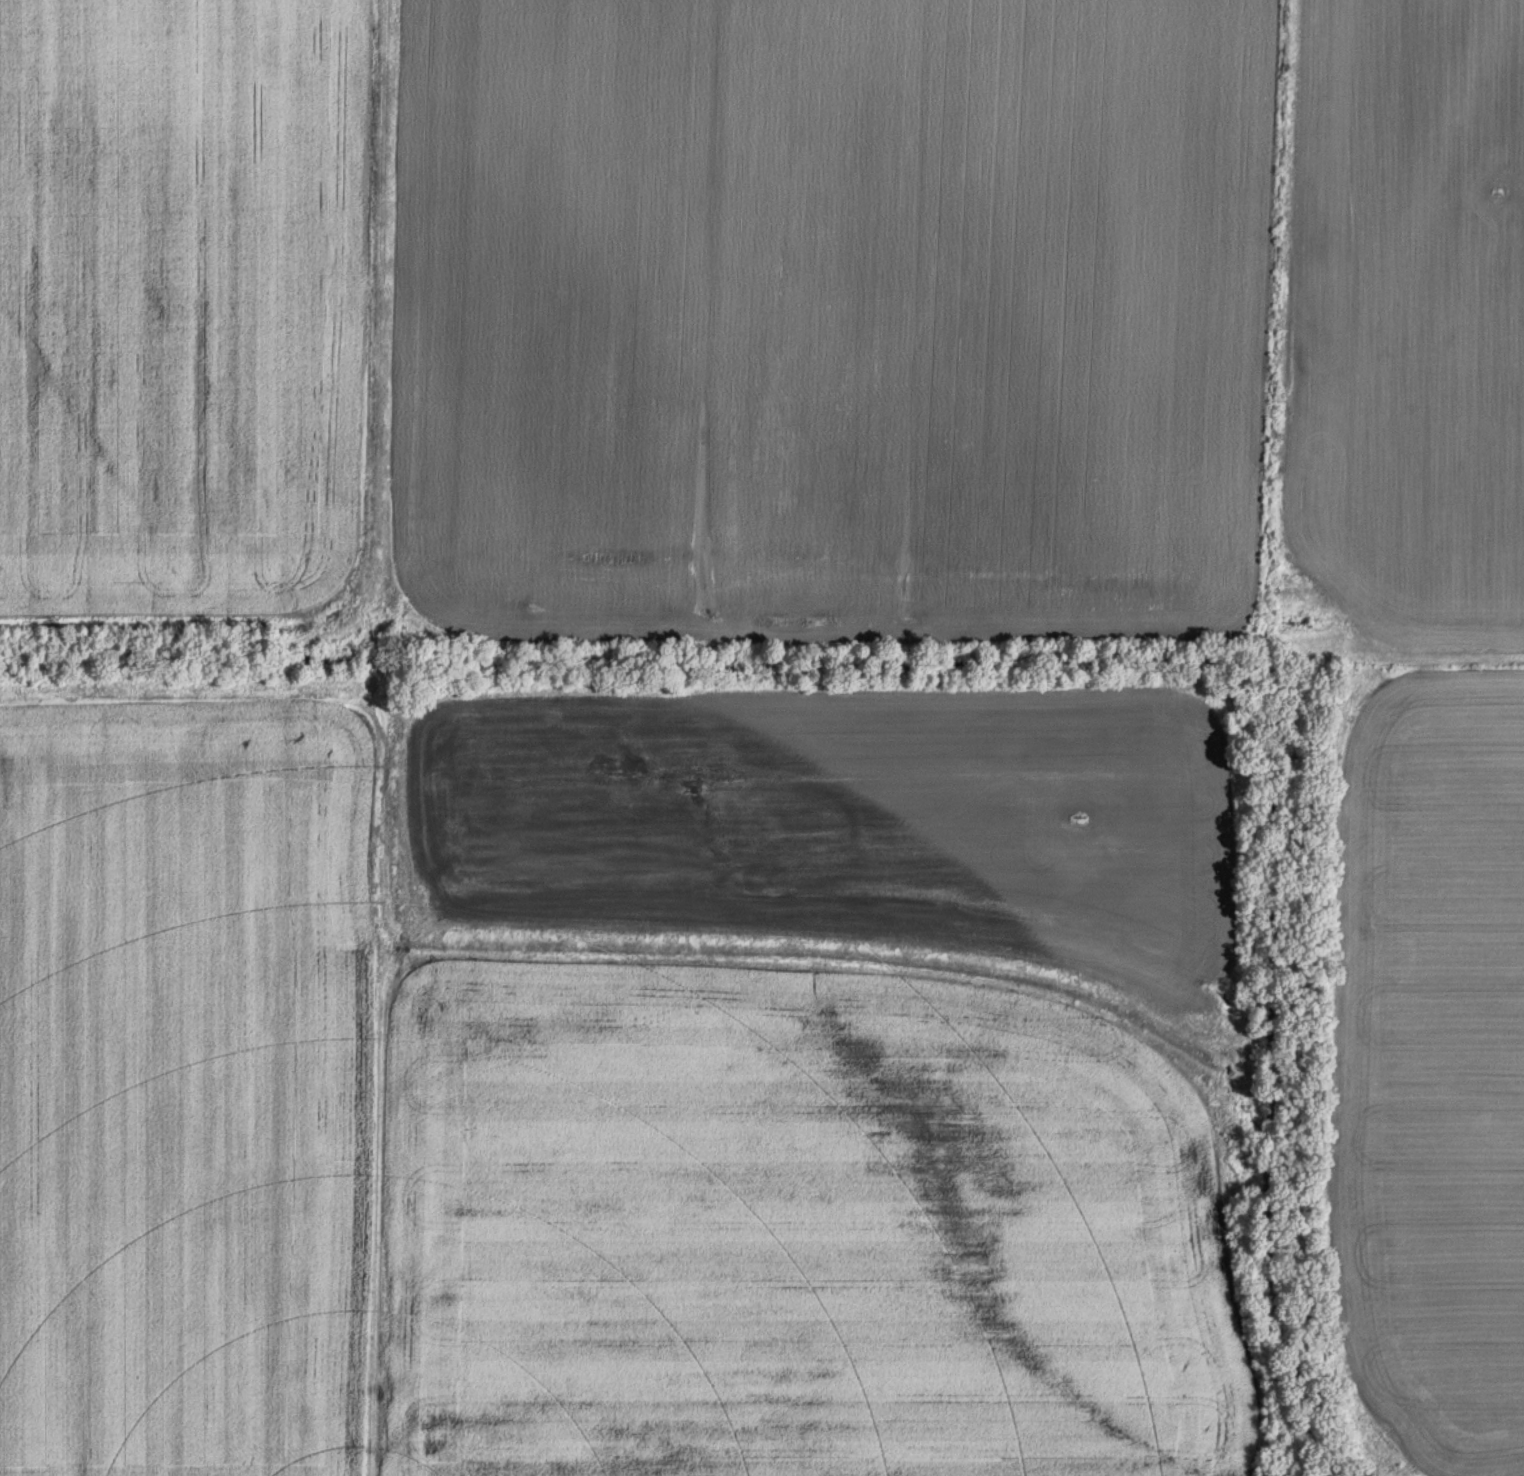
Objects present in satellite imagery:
road: (1446, 659)

